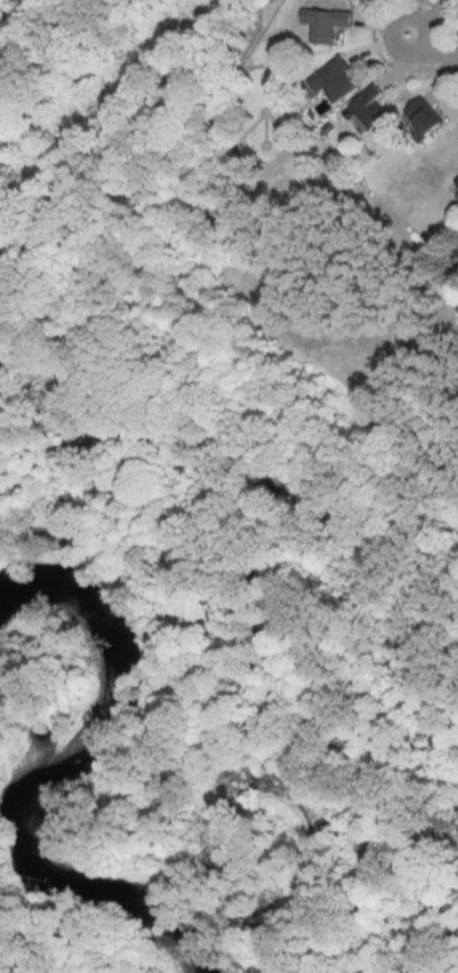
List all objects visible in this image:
road: (6, 9)
building: (325, 23)
road: (433, 49)
building: (335, 79)
building: (369, 106)
building: (423, 118)
building: (457, 181)
road: (230, 414)
park: (225, 520)
road: (248, 720)
river: (42, 767)
park: (6, 966)

